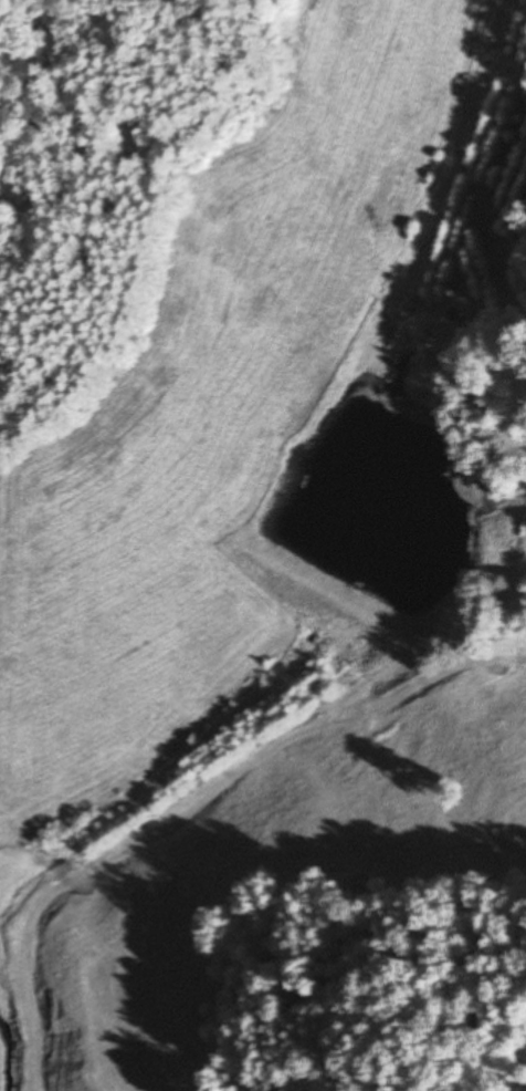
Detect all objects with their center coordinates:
dam: (326, 582)

